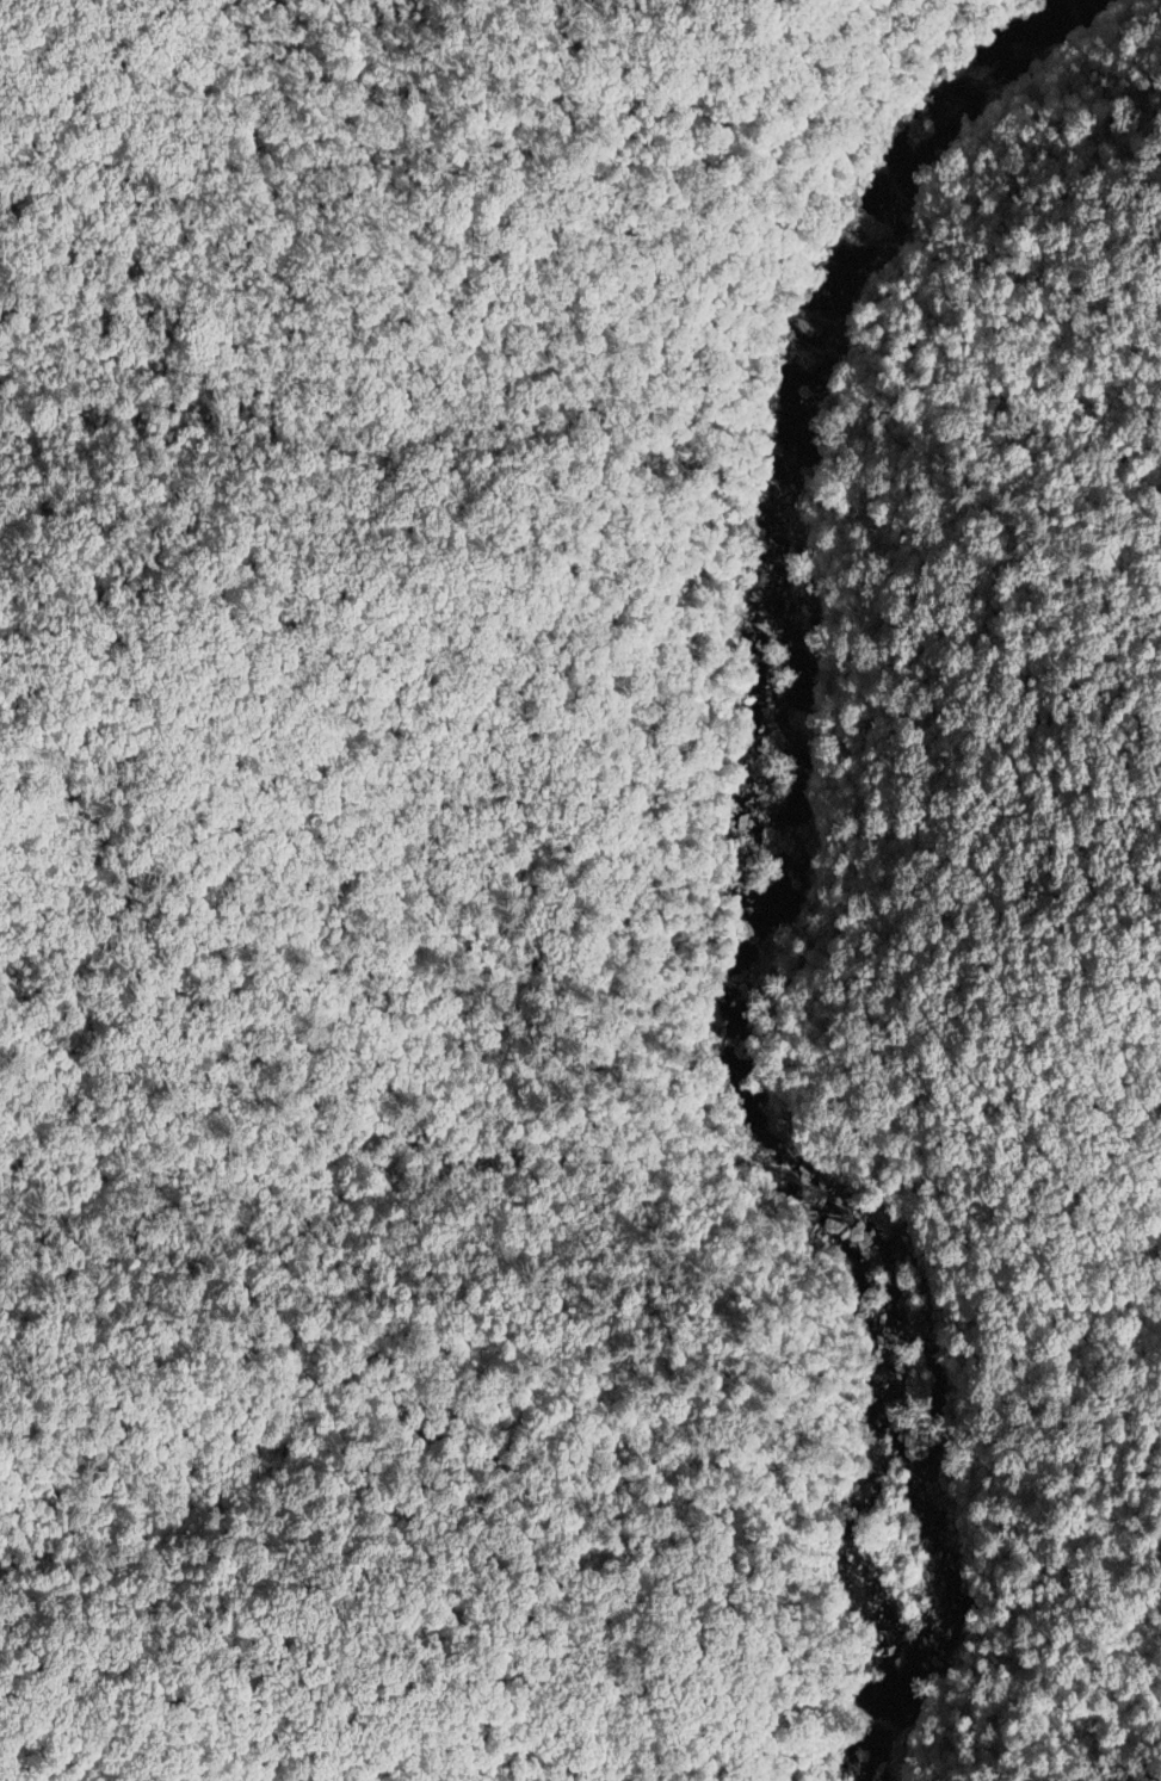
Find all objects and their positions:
river: (949, 124)
road: (179, 221)
river: (808, 691)
road: (76, 1162)
river: (851, 1211)
river: (913, 1558)

